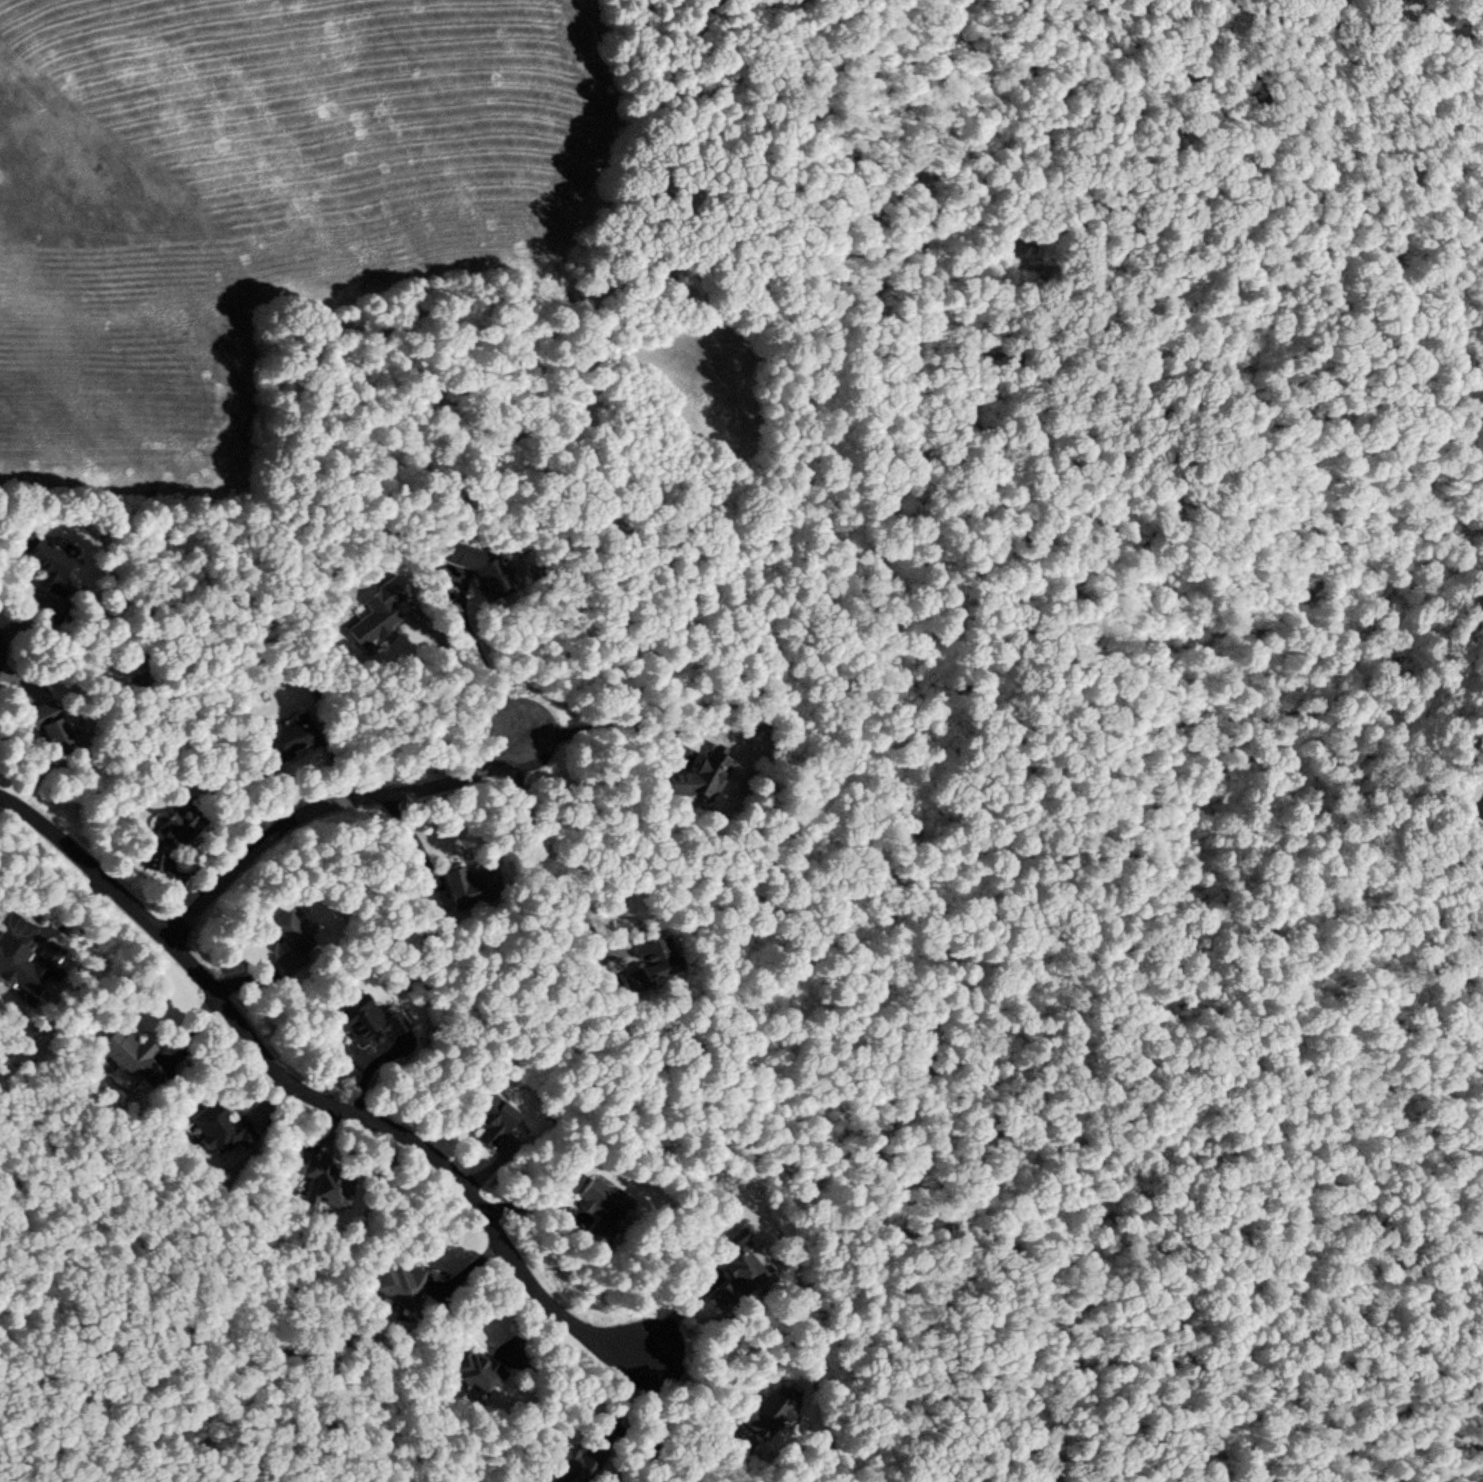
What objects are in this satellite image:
building: (47, 569)
building: (481, 571)
building: (373, 620)
building: (48, 726)
building: (287, 737)
building: (701, 776)
road: (322, 807)
building: (179, 827)
building: (154, 858)
building: (469, 887)
building: (289, 940)
building: (21, 971)
building: (365, 1020)
building: (125, 1051)
road: (958, 1070)
road: (311, 1098)
building: (490, 1119)
building: (220, 1129)
building: (325, 1187)
building: (600, 1210)
building: (738, 1272)
building: (400, 1286)
building: (475, 1370)
building: (769, 1409)
building: (571, 1461)

